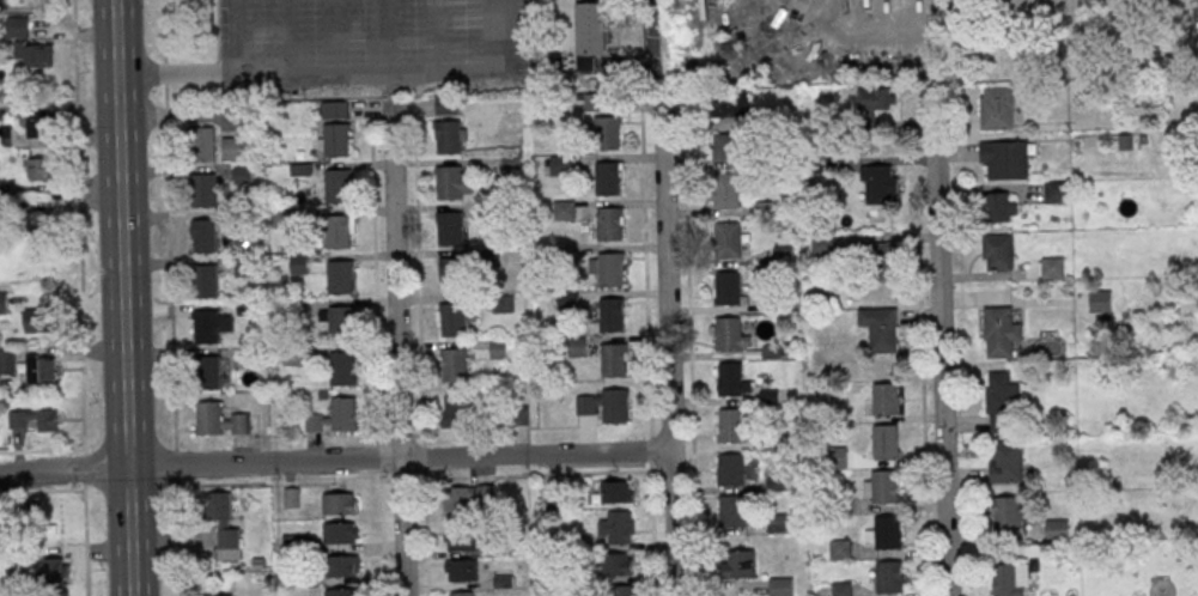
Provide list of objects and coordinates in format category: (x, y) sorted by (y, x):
building: (17, 26)
building: (591, 28)
road: (163, 31)
road: (872, 35)
road: (235, 37)
park: (1068, 39)
building: (35, 55)
road: (650, 60)
road: (165, 73)
road: (351, 79)
road: (393, 90)
building: (604, 91)
building: (876, 99)
building: (732, 103)
building: (334, 109)
building: (998, 110)
building: (37, 124)
building: (607, 133)
building: (449, 136)
building: (334, 140)
building: (203, 144)
building: (726, 145)
building: (235, 148)
building: (1005, 158)
building: (560, 165)
building: (38, 169)
building: (609, 178)
building: (452, 182)
building: (335, 184)
building: (878, 184)
building: (202, 189)
building: (725, 190)
building: (1057, 190)
building: (999, 206)
building: (562, 211)
building: (39, 223)
building: (609, 224)
road: (78, 227)
building: (449, 227)
building: (339, 231)
building: (203, 236)
building: (726, 239)
building: (997, 251)
building: (882, 261)
building: (298, 263)
road: (170, 266)
building: (1051, 266)
road: (645, 268)
building: (612, 269)
road: (375, 272)
road: (418, 274)
building: (452, 274)
building: (339, 276)
building: (206, 280)
building: (726, 287)
road: (122, 298)
building: (1100, 299)
building: (2, 303)
building: (610, 315)
building: (452, 320)
building: (36, 321)
building: (340, 323)
building: (209, 324)
building: (880, 329)
building: (1001, 332)
building: (731, 334)
road: (938, 340)
road: (689, 345)
road: (396, 348)
road: (667, 351)
building: (613, 360)
building: (7, 361)
building: (455, 365)
building: (39, 369)
building: (341, 369)
building: (211, 371)
building: (731, 381)
building: (884, 399)
building: (1003, 402)
building: (603, 405)
building: (456, 409)
road: (923, 414)
building: (334, 416)
building: (36, 420)
building: (224, 420)
building: (730, 425)
road: (384, 436)
road: (401, 436)
road: (418, 436)
building: (884, 440)
road: (650, 450)
road: (379, 457)
road: (424, 457)
road: (334, 458)
building: (1005, 461)
road: (176, 464)
road: (84, 469)
building: (728, 470)
road: (515, 475)
building: (880, 487)
road: (42, 491)
building: (615, 492)
building: (291, 498)
building: (339, 501)
building: (460, 504)
building: (731, 511)
building: (1008, 512)
building: (221, 522)
building: (615, 528)
building: (1057, 528)
road: (651, 529)
building: (49, 530)
road: (381, 531)
road: (425, 531)
building: (340, 533)
building: (884, 533)
road: (177, 537)
road: (85, 539)
building: (460, 540)
building: (839, 549)
building: (616, 565)
building: (738, 565)
building: (342, 566)
building: (55, 570)
building: (461, 571)
building: (888, 577)
building: (1010, 579)
building: (780, 586)
building: (841, 589)
building: (624, 590)
building: (341, 591)
building: (460, 594)
building: (217, 595)

